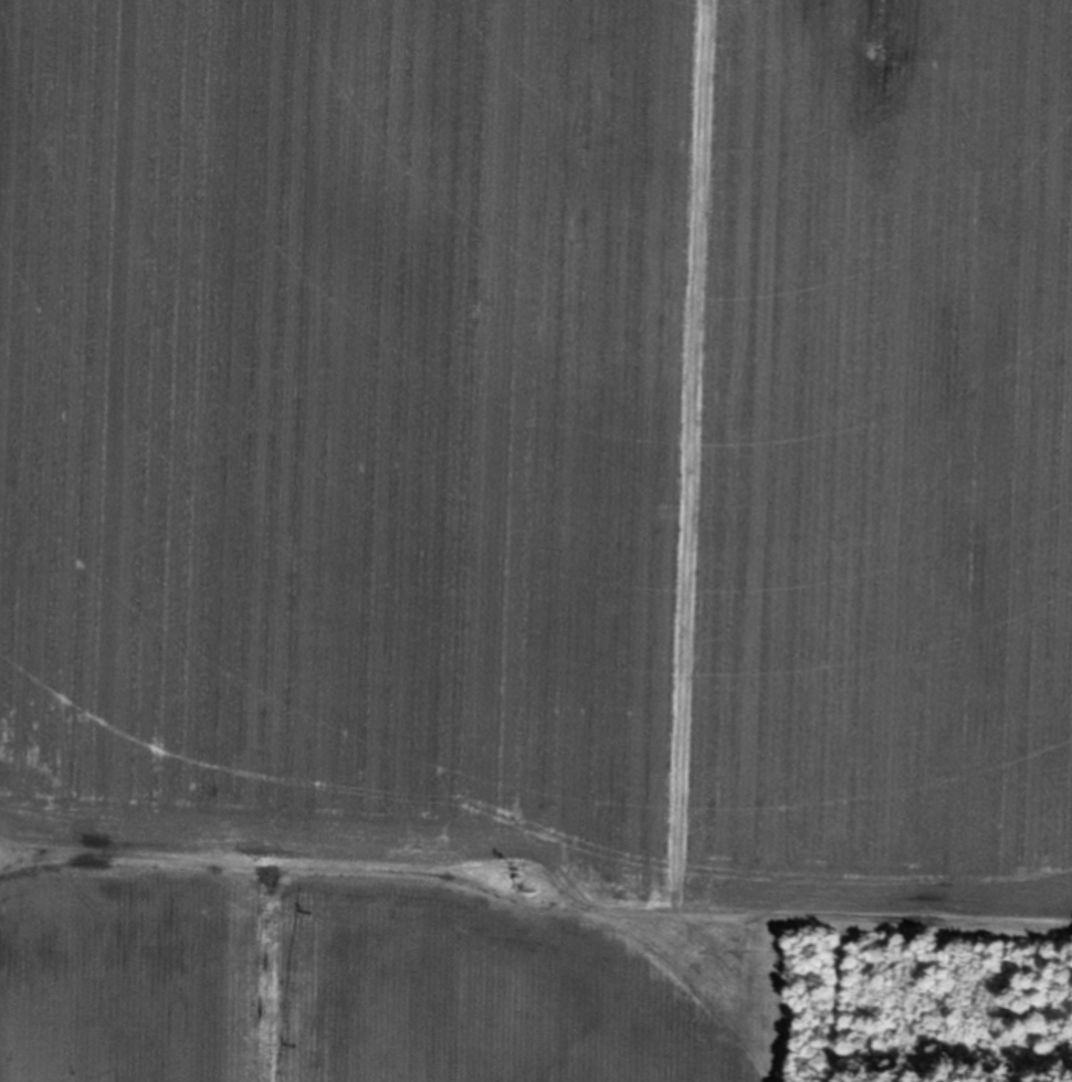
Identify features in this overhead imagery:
crop: (521, 524)

